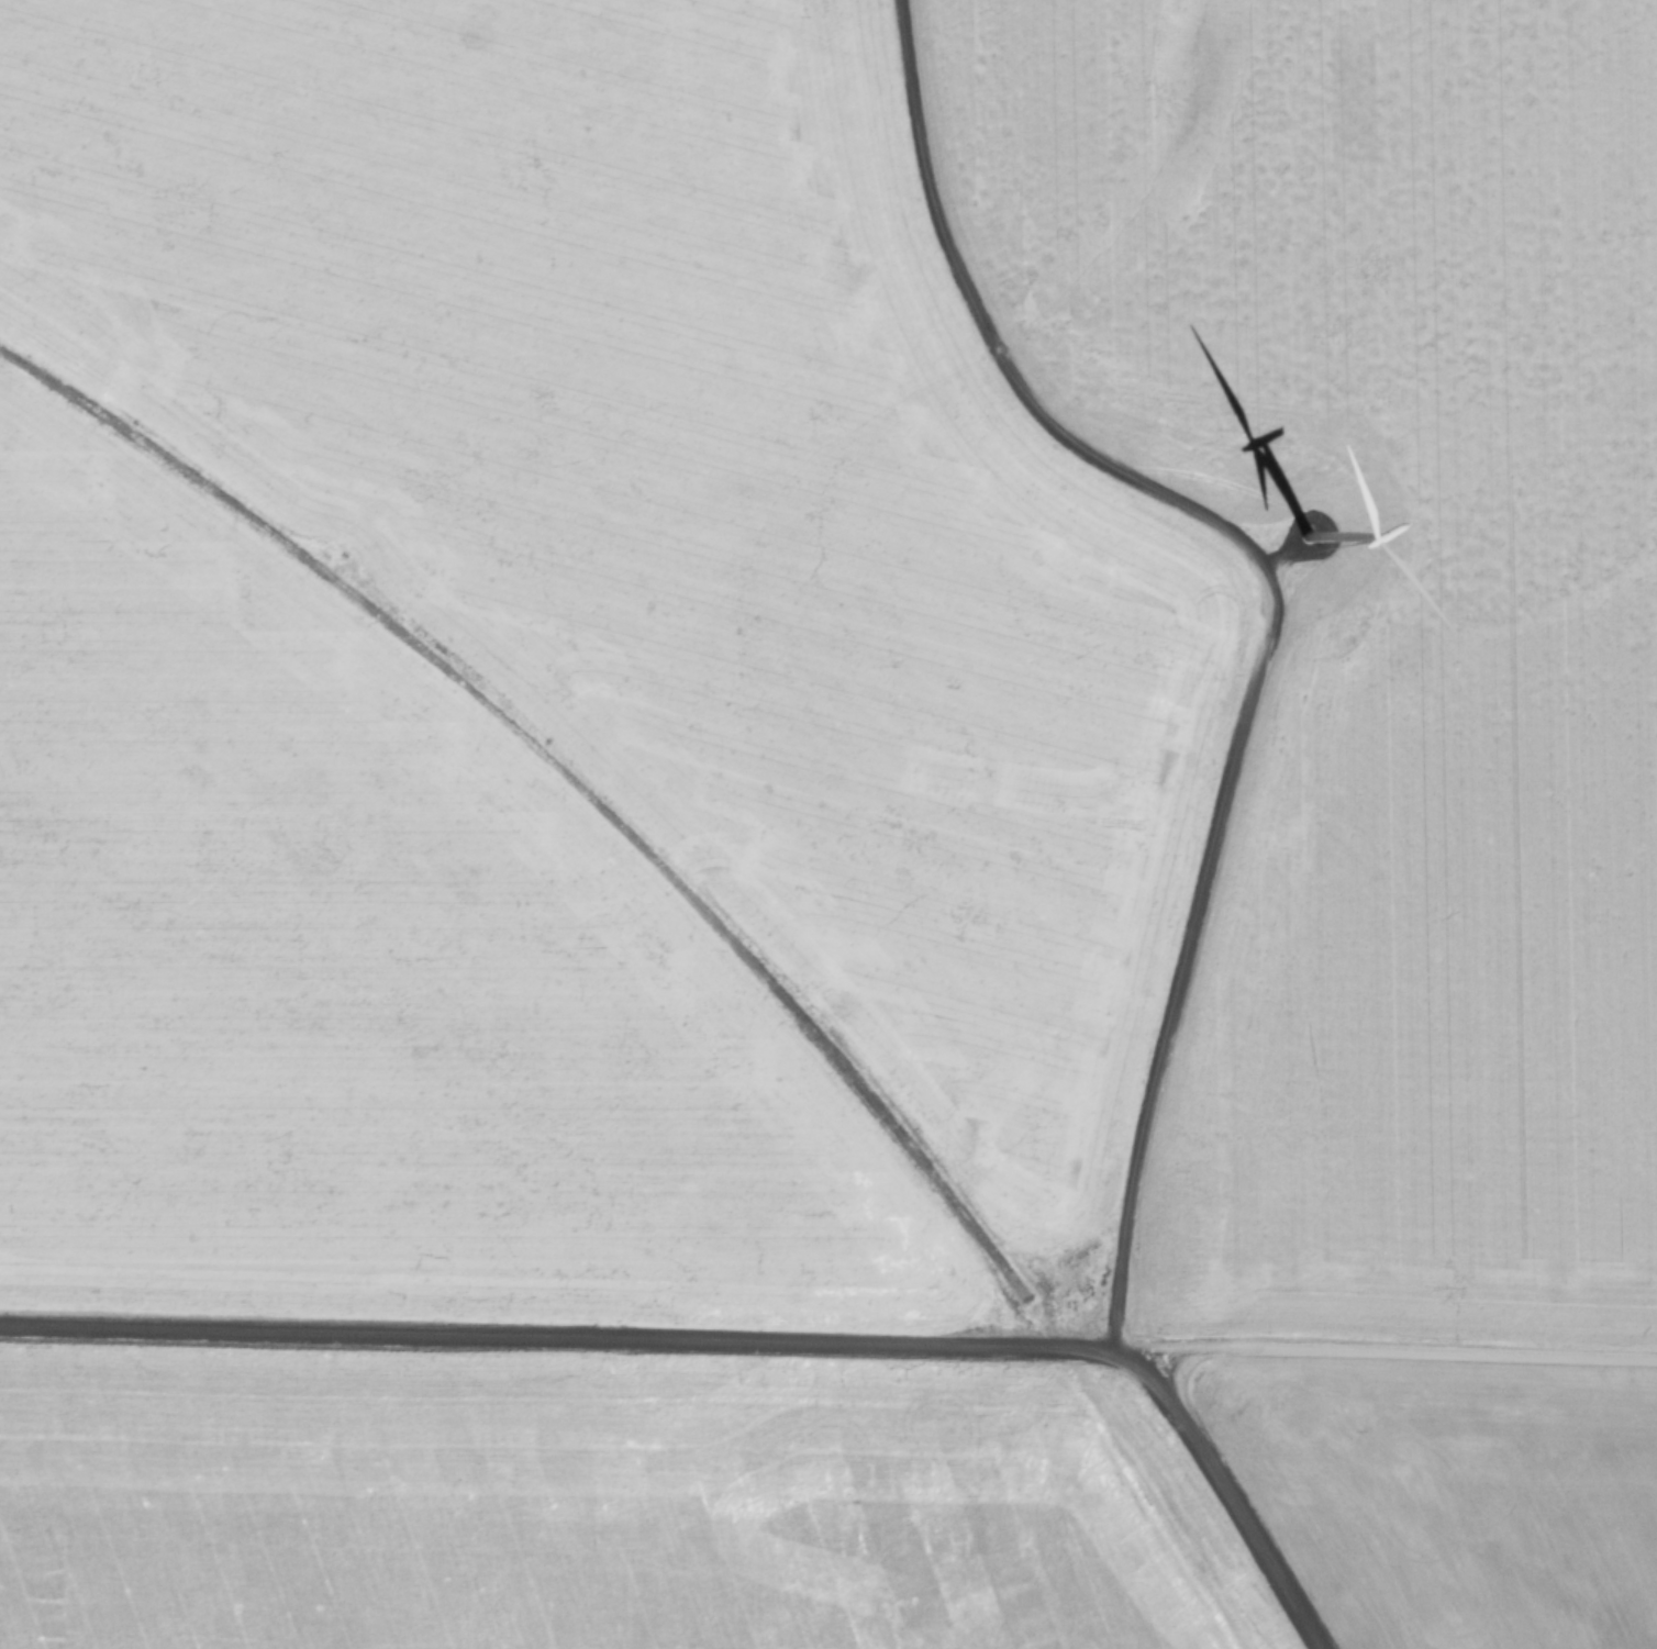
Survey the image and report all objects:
wind turbine: (1306, 537)
road: (569, 1337)
road: (1395, 1351)
road: (1228, 1505)

